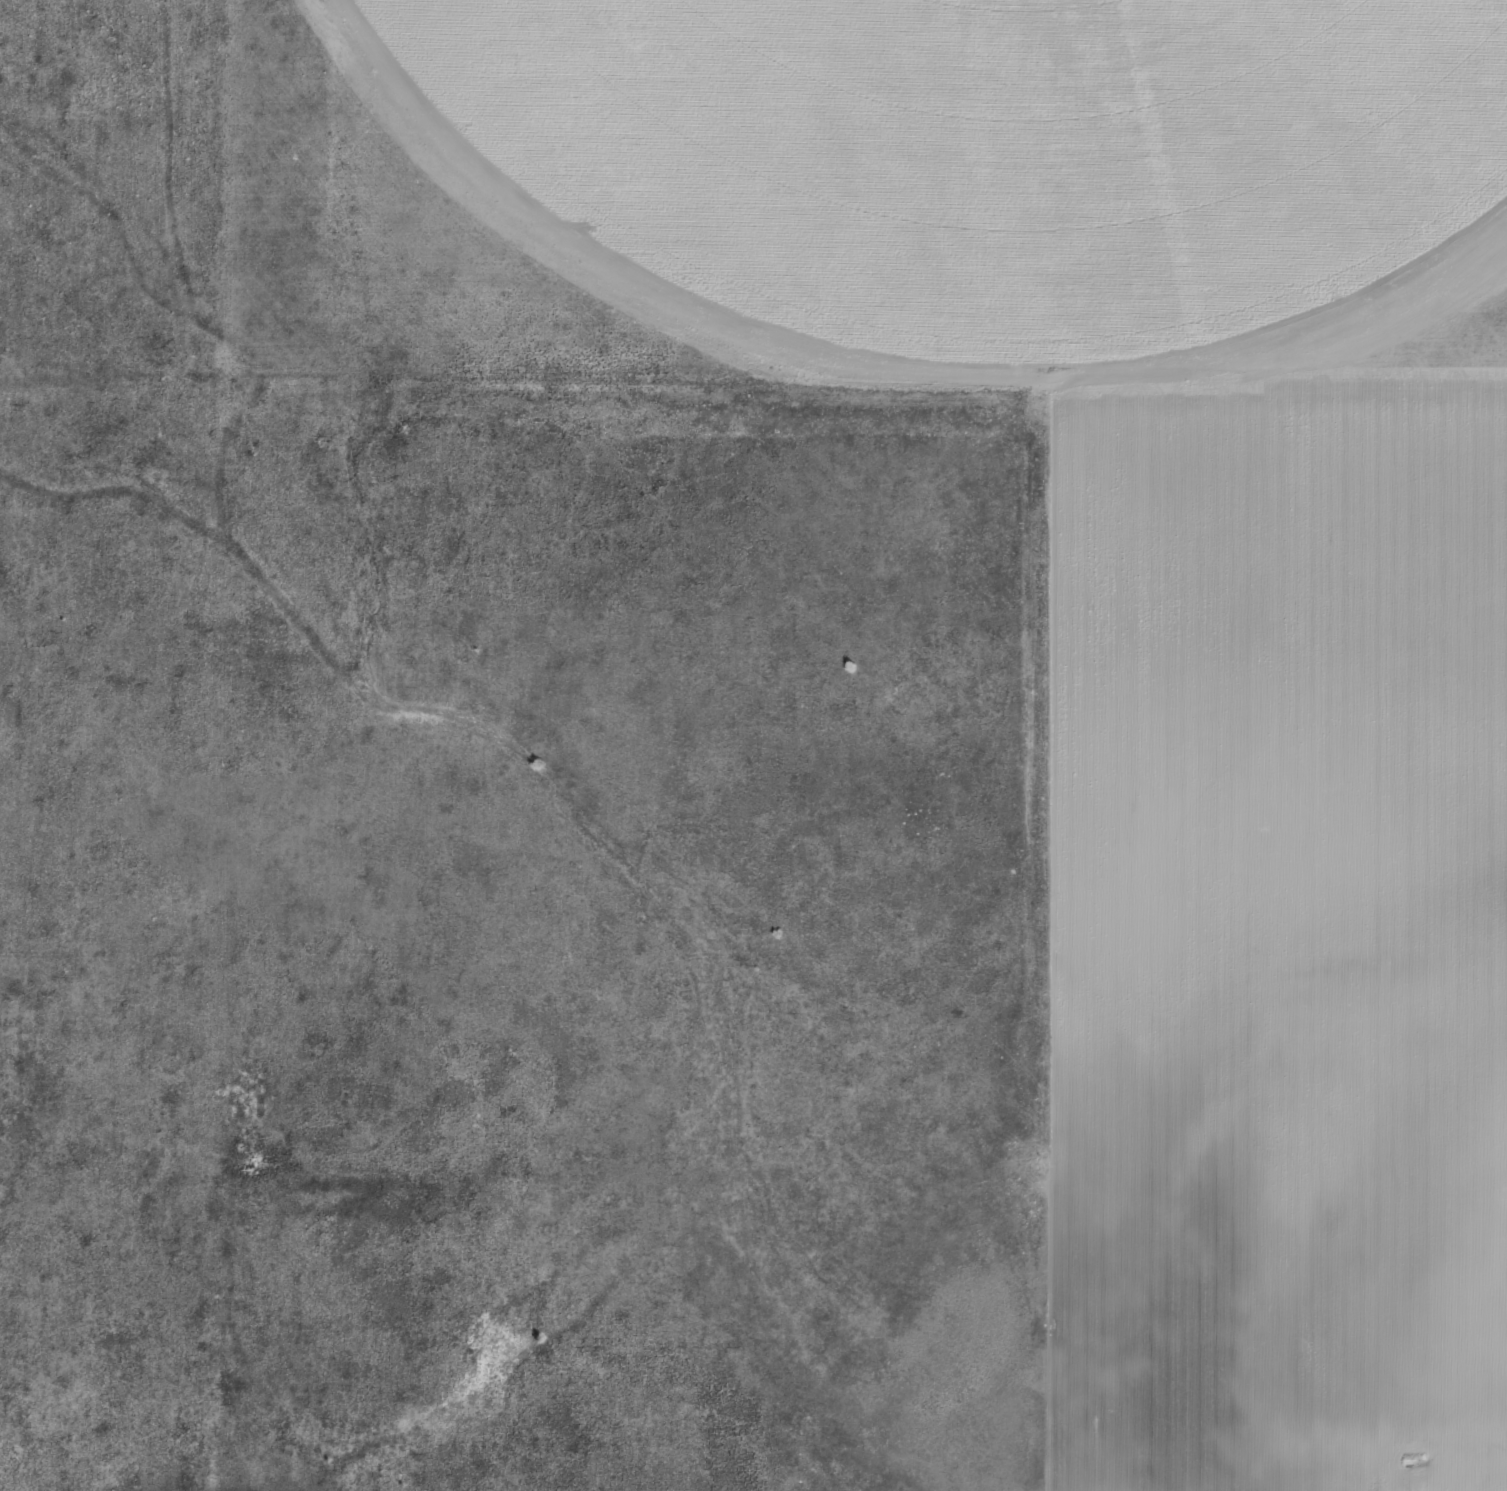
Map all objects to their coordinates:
road: (1212, 972)

